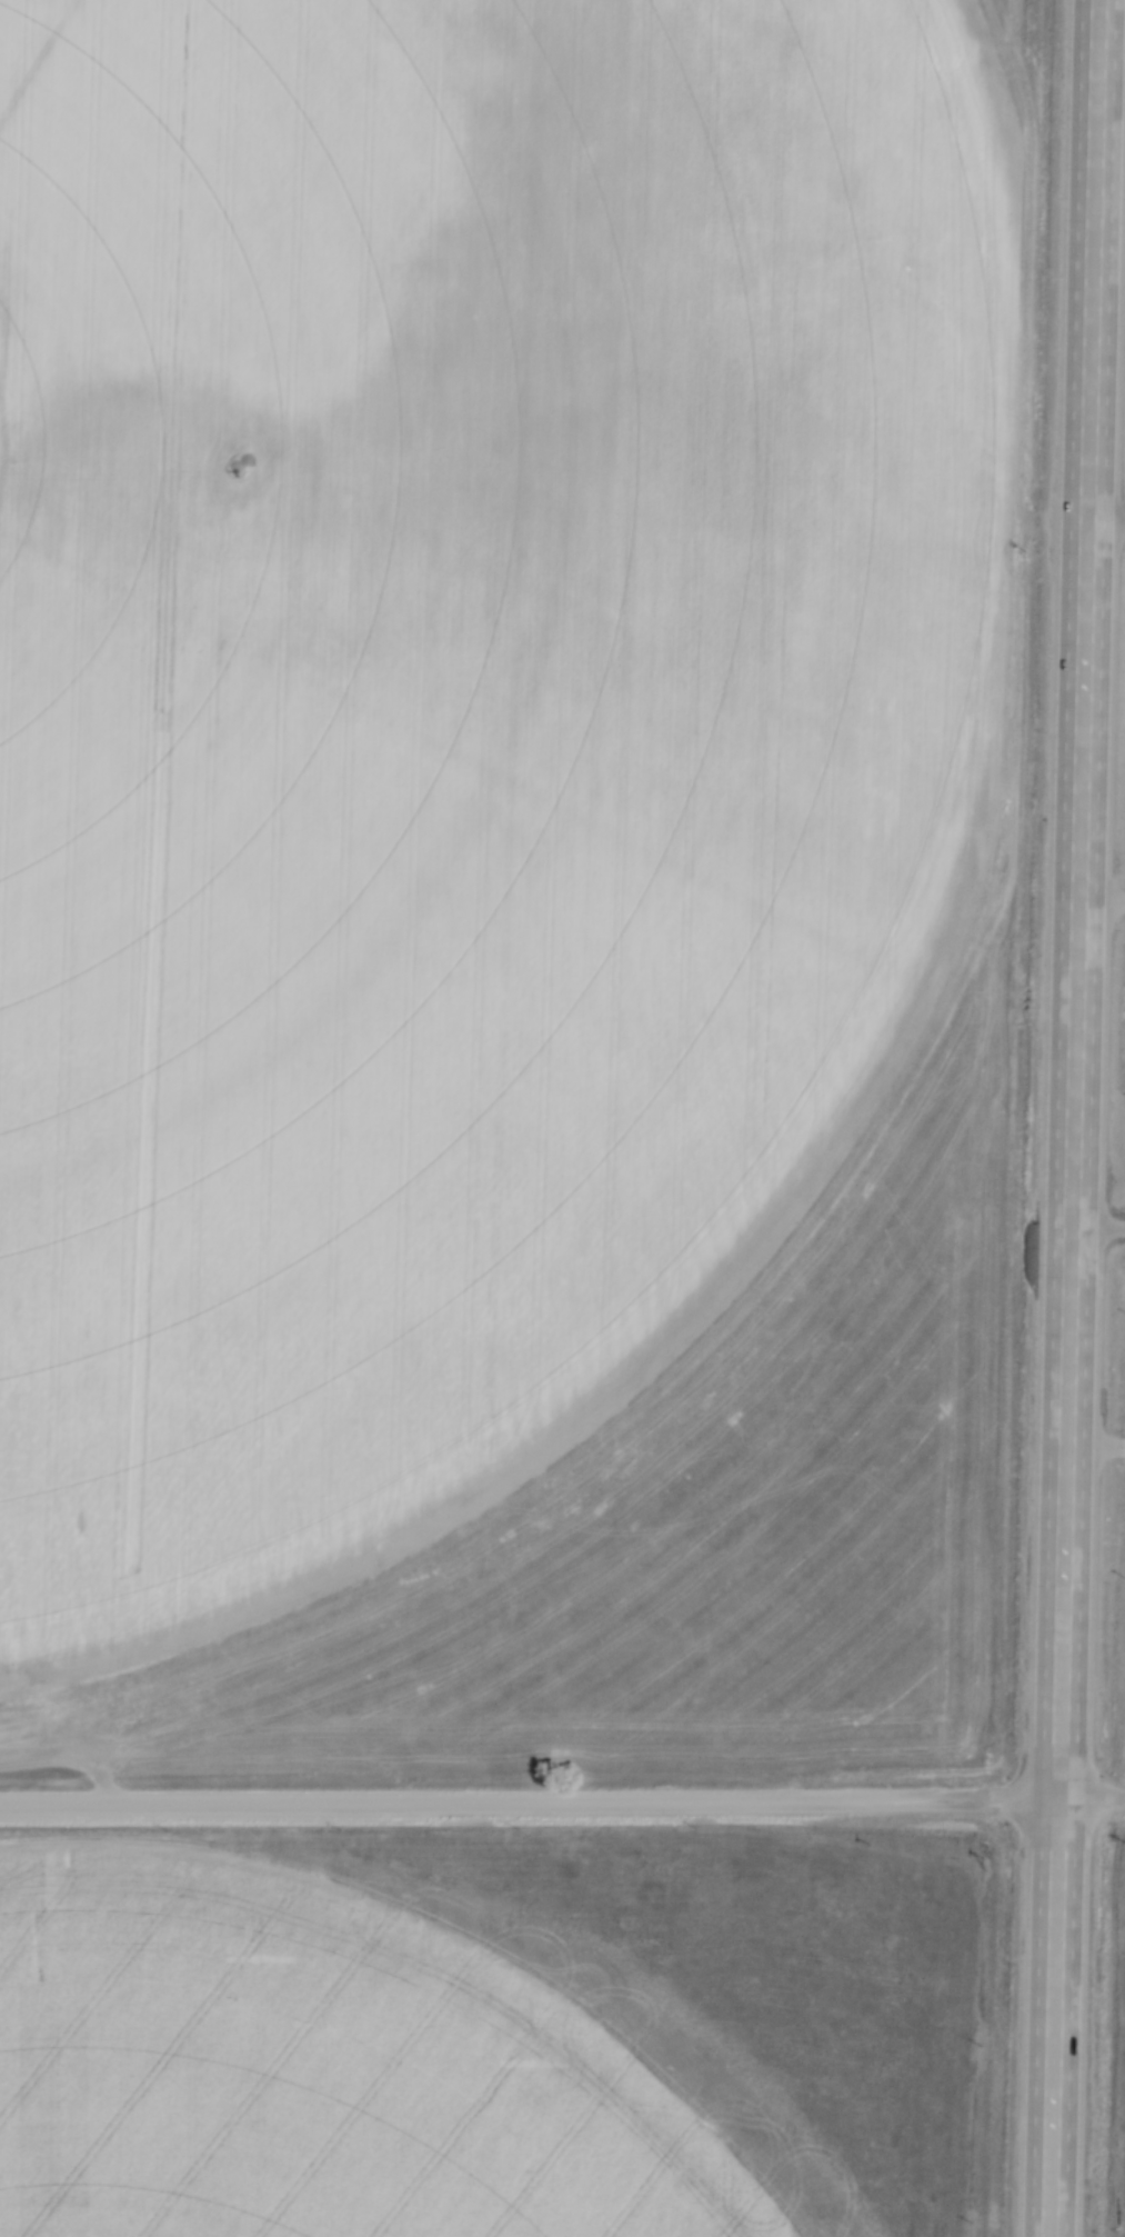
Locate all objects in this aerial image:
road: (1077, 899)
road: (1097, 1220)
road: (1107, 1358)
road: (1095, 1446)
road: (562, 1802)
road: (1052, 2017)

